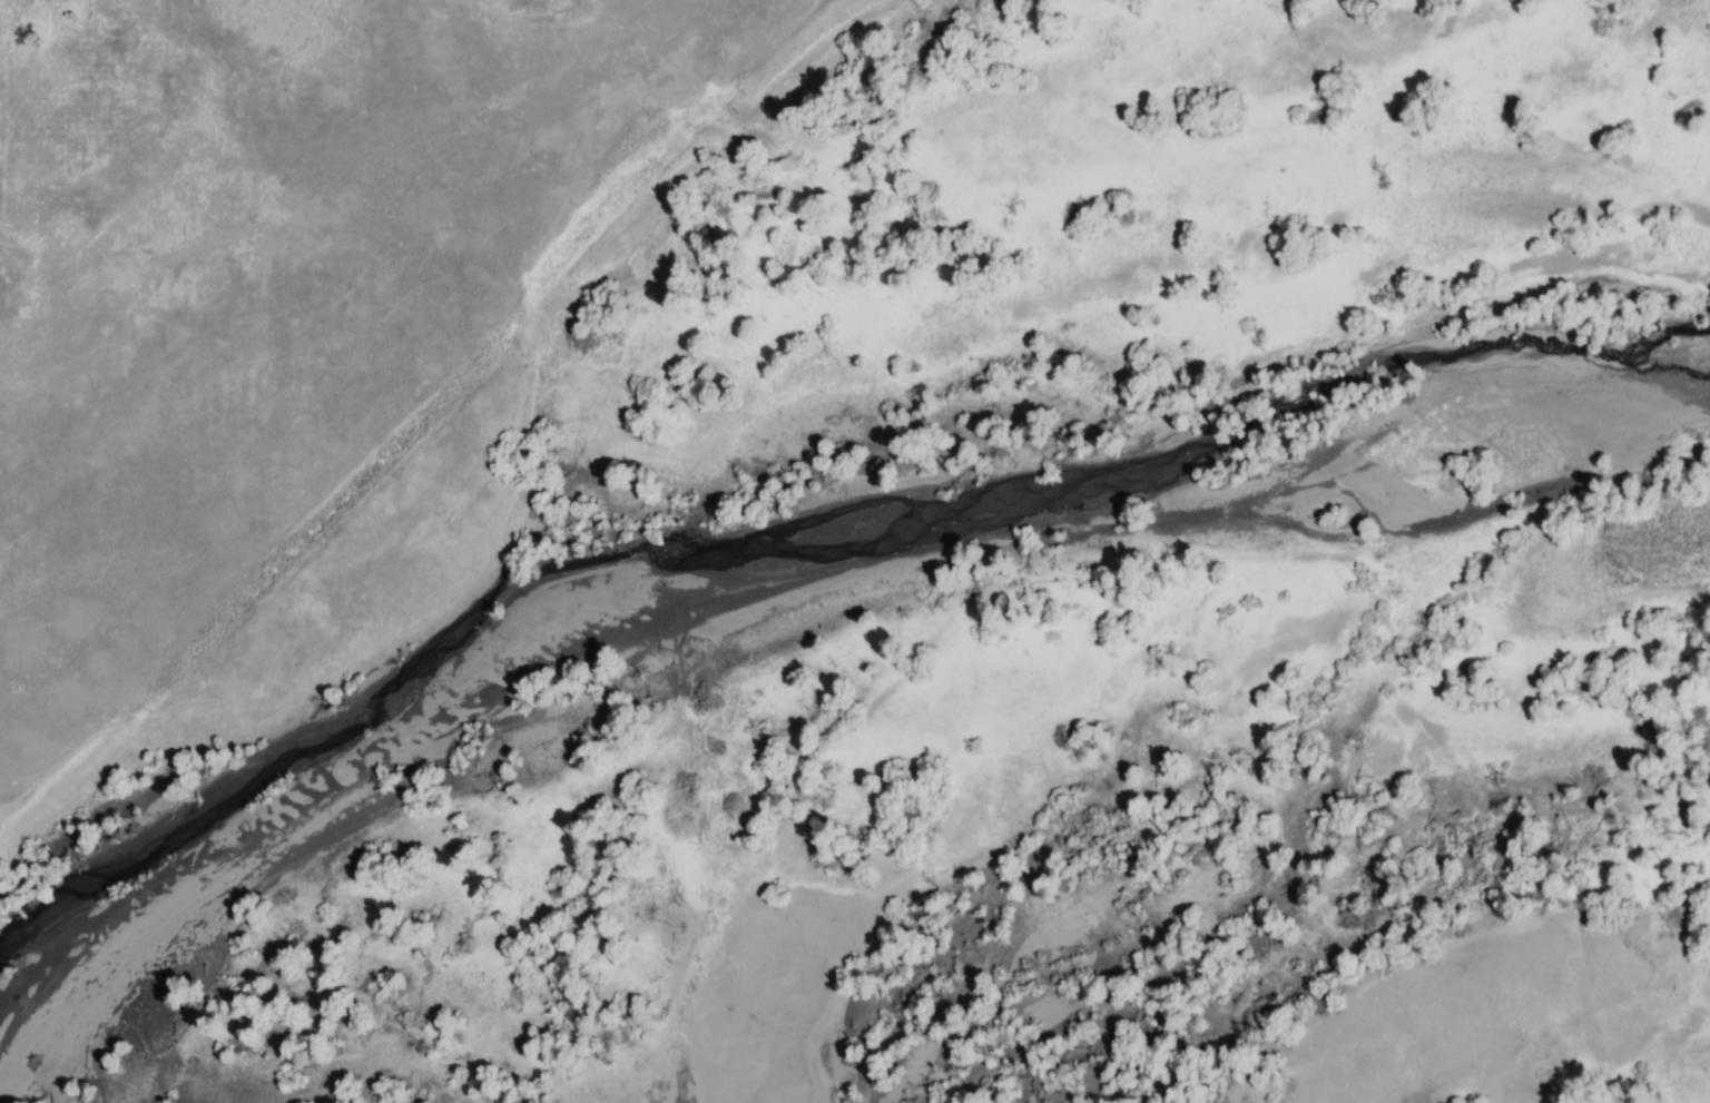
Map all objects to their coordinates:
river: (817, 546)

